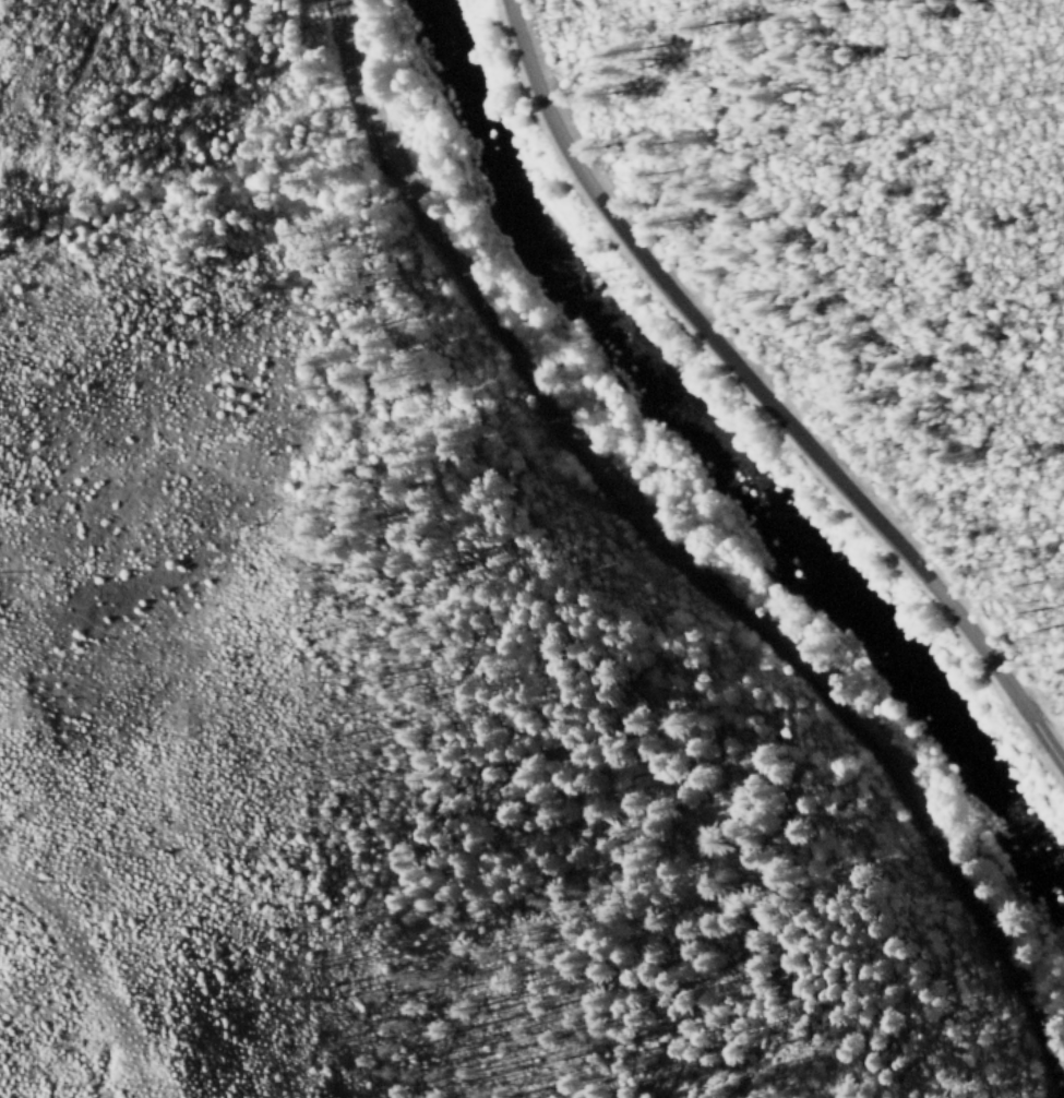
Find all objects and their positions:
road: (765, 393)
railway: (686, 557)
road: (83, 977)

